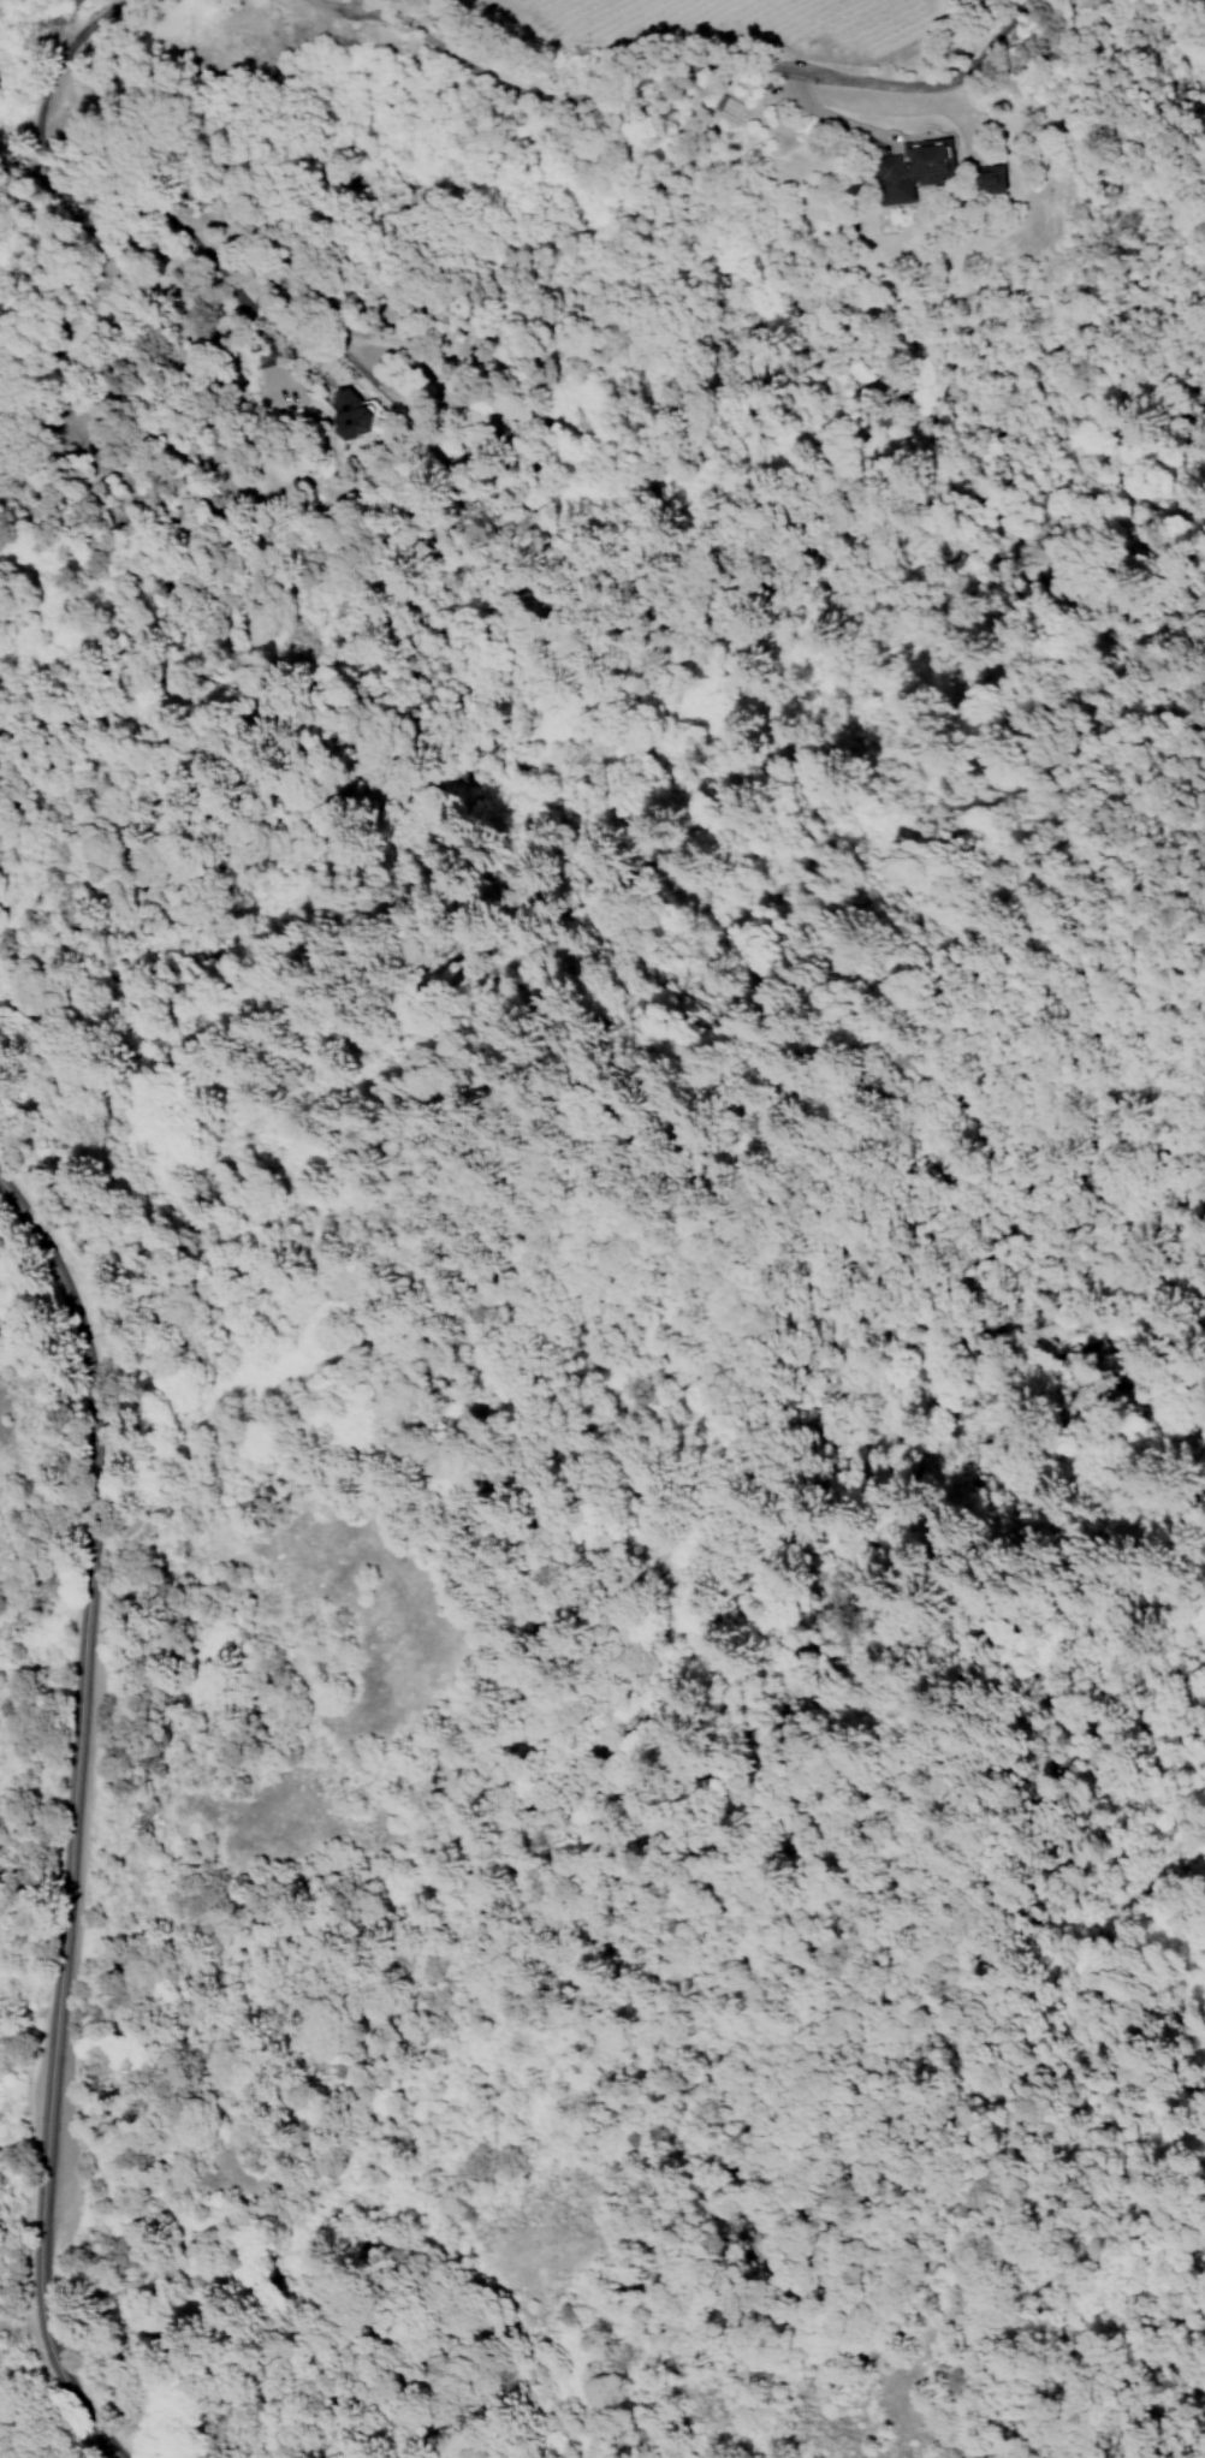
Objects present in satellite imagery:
road: (337, 2)
crop: (732, 55)
road: (693, 66)
road: (833, 113)
building: (901, 174)
building: (987, 179)
road: (113, 201)
building: (354, 416)
road: (72, 1823)

